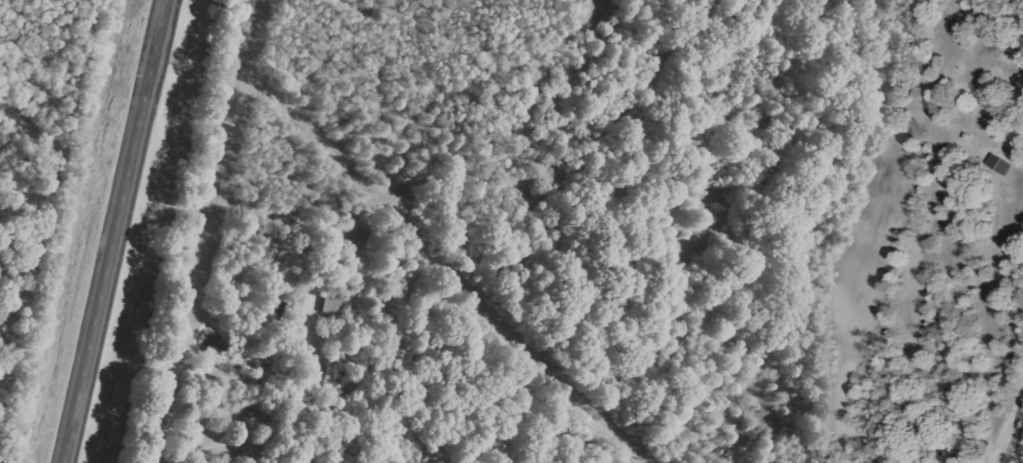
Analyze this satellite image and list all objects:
road: (115, 231)
road: (1007, 431)

